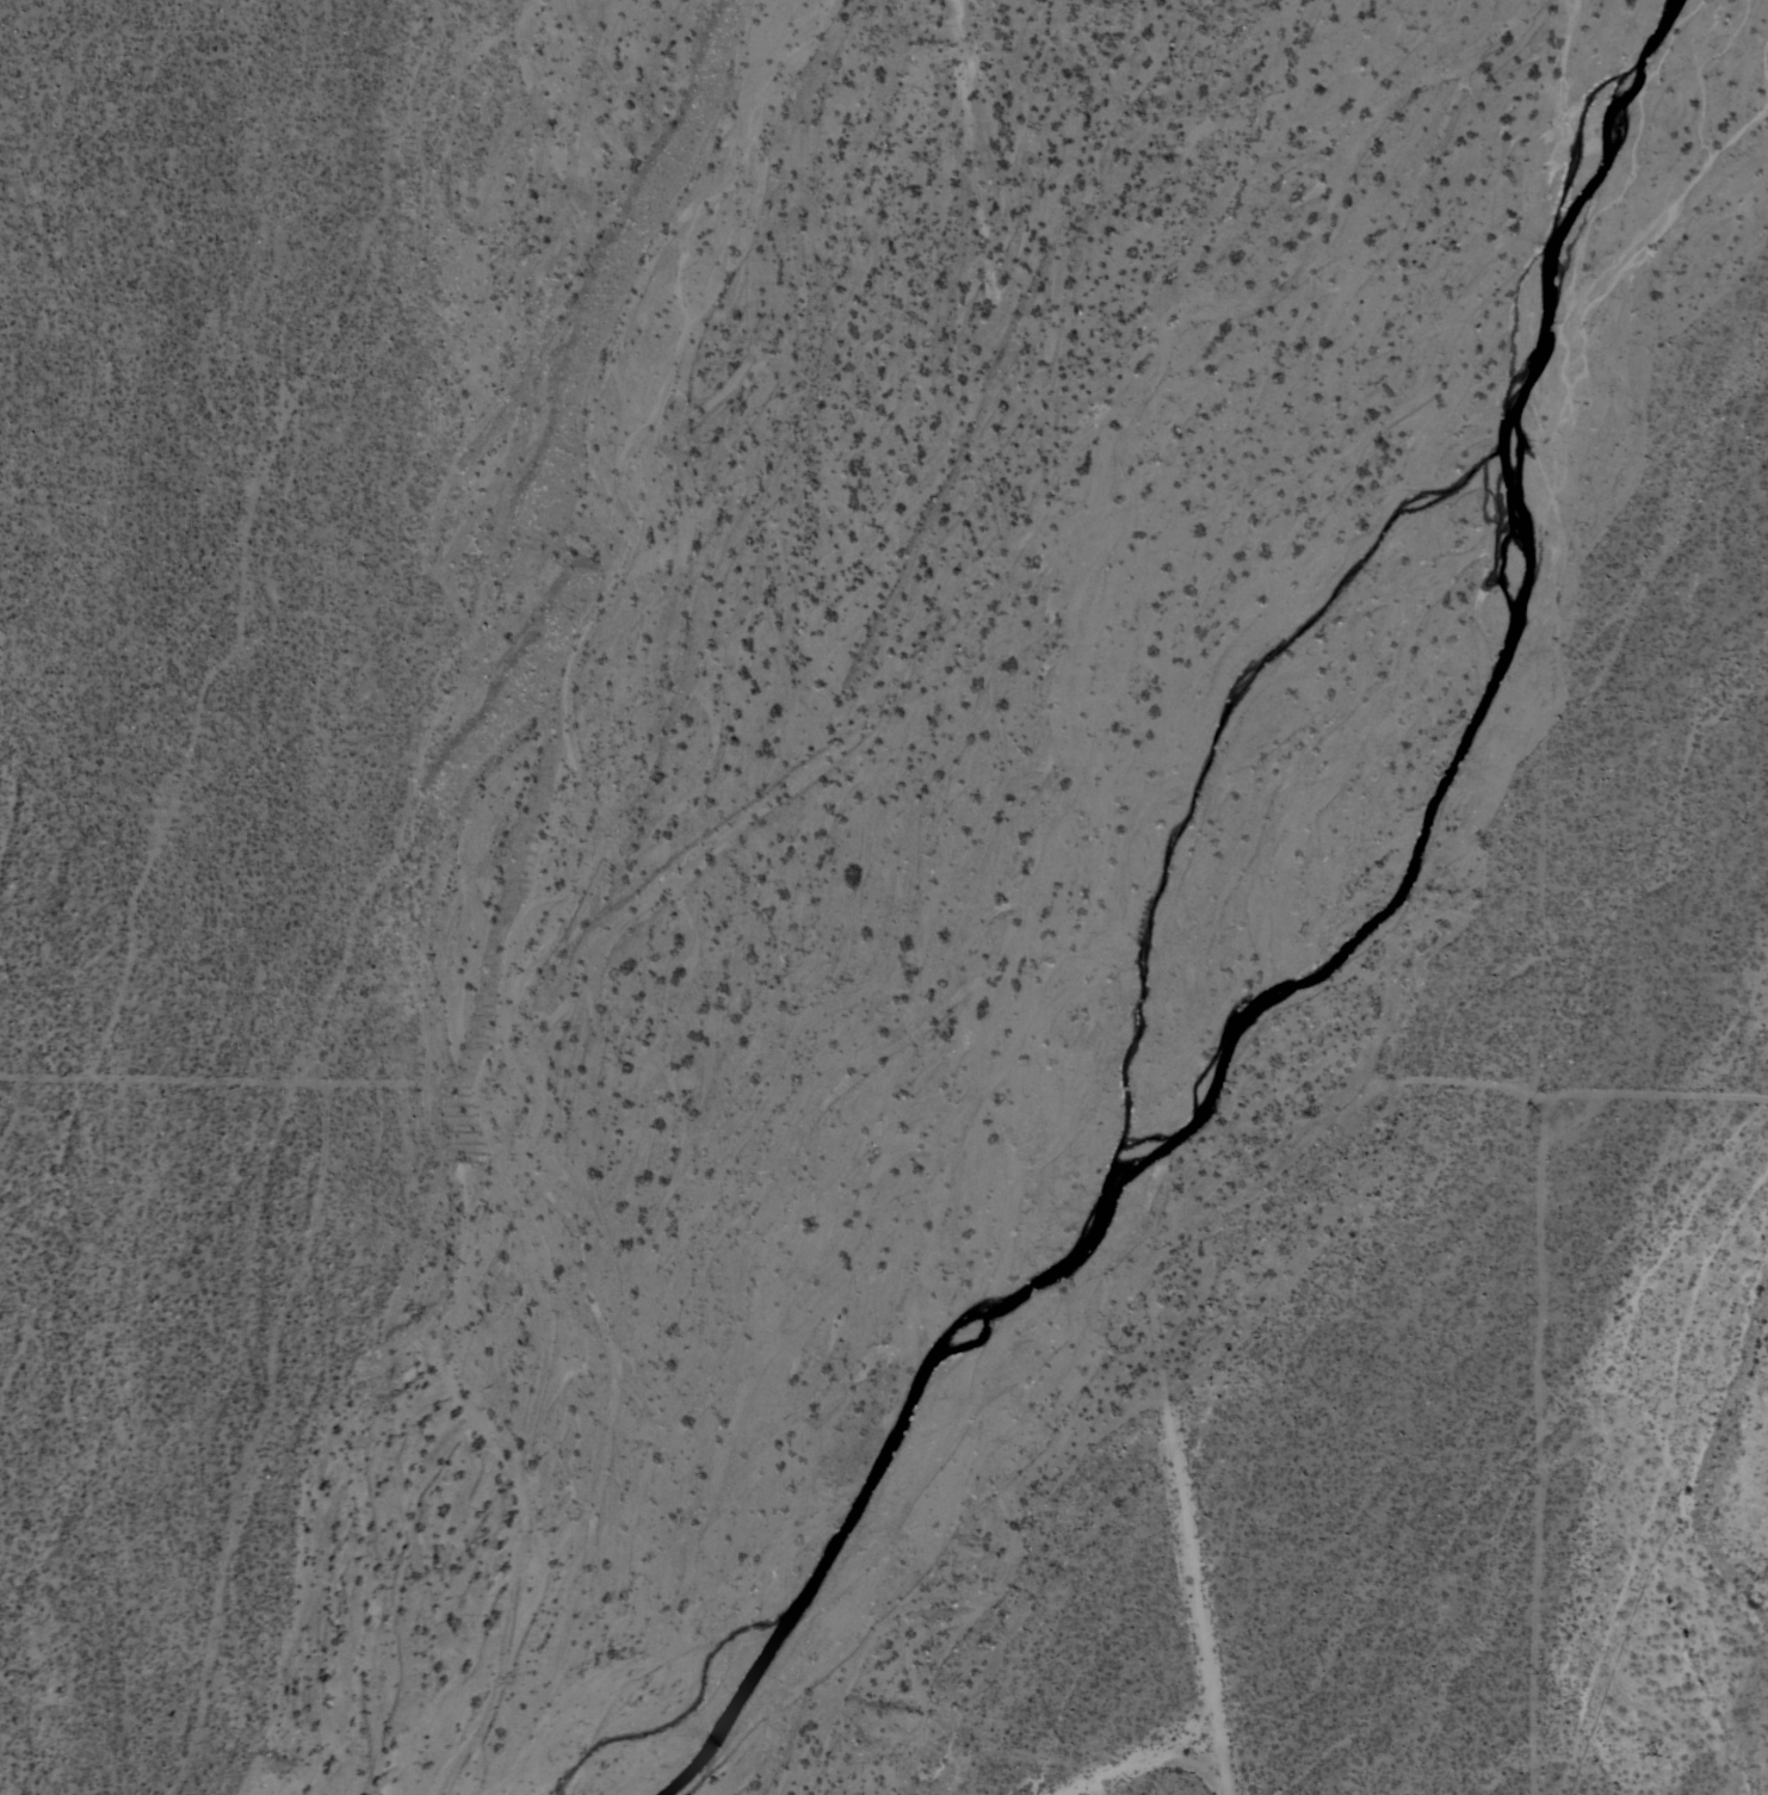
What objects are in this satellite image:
road: (1208, 1605)

